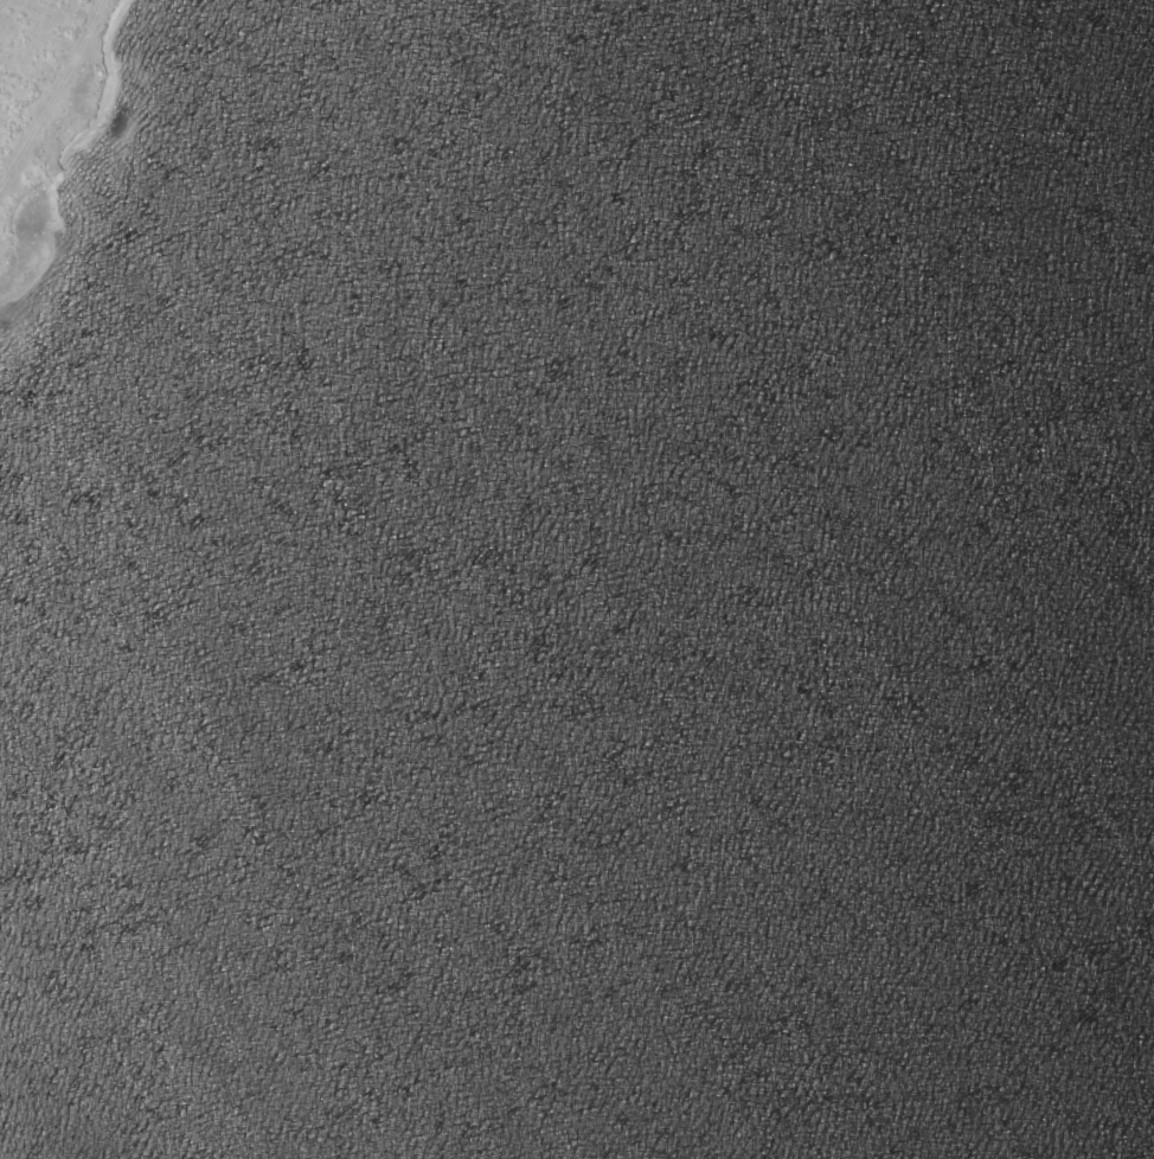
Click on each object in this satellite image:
road: (7, 6)

